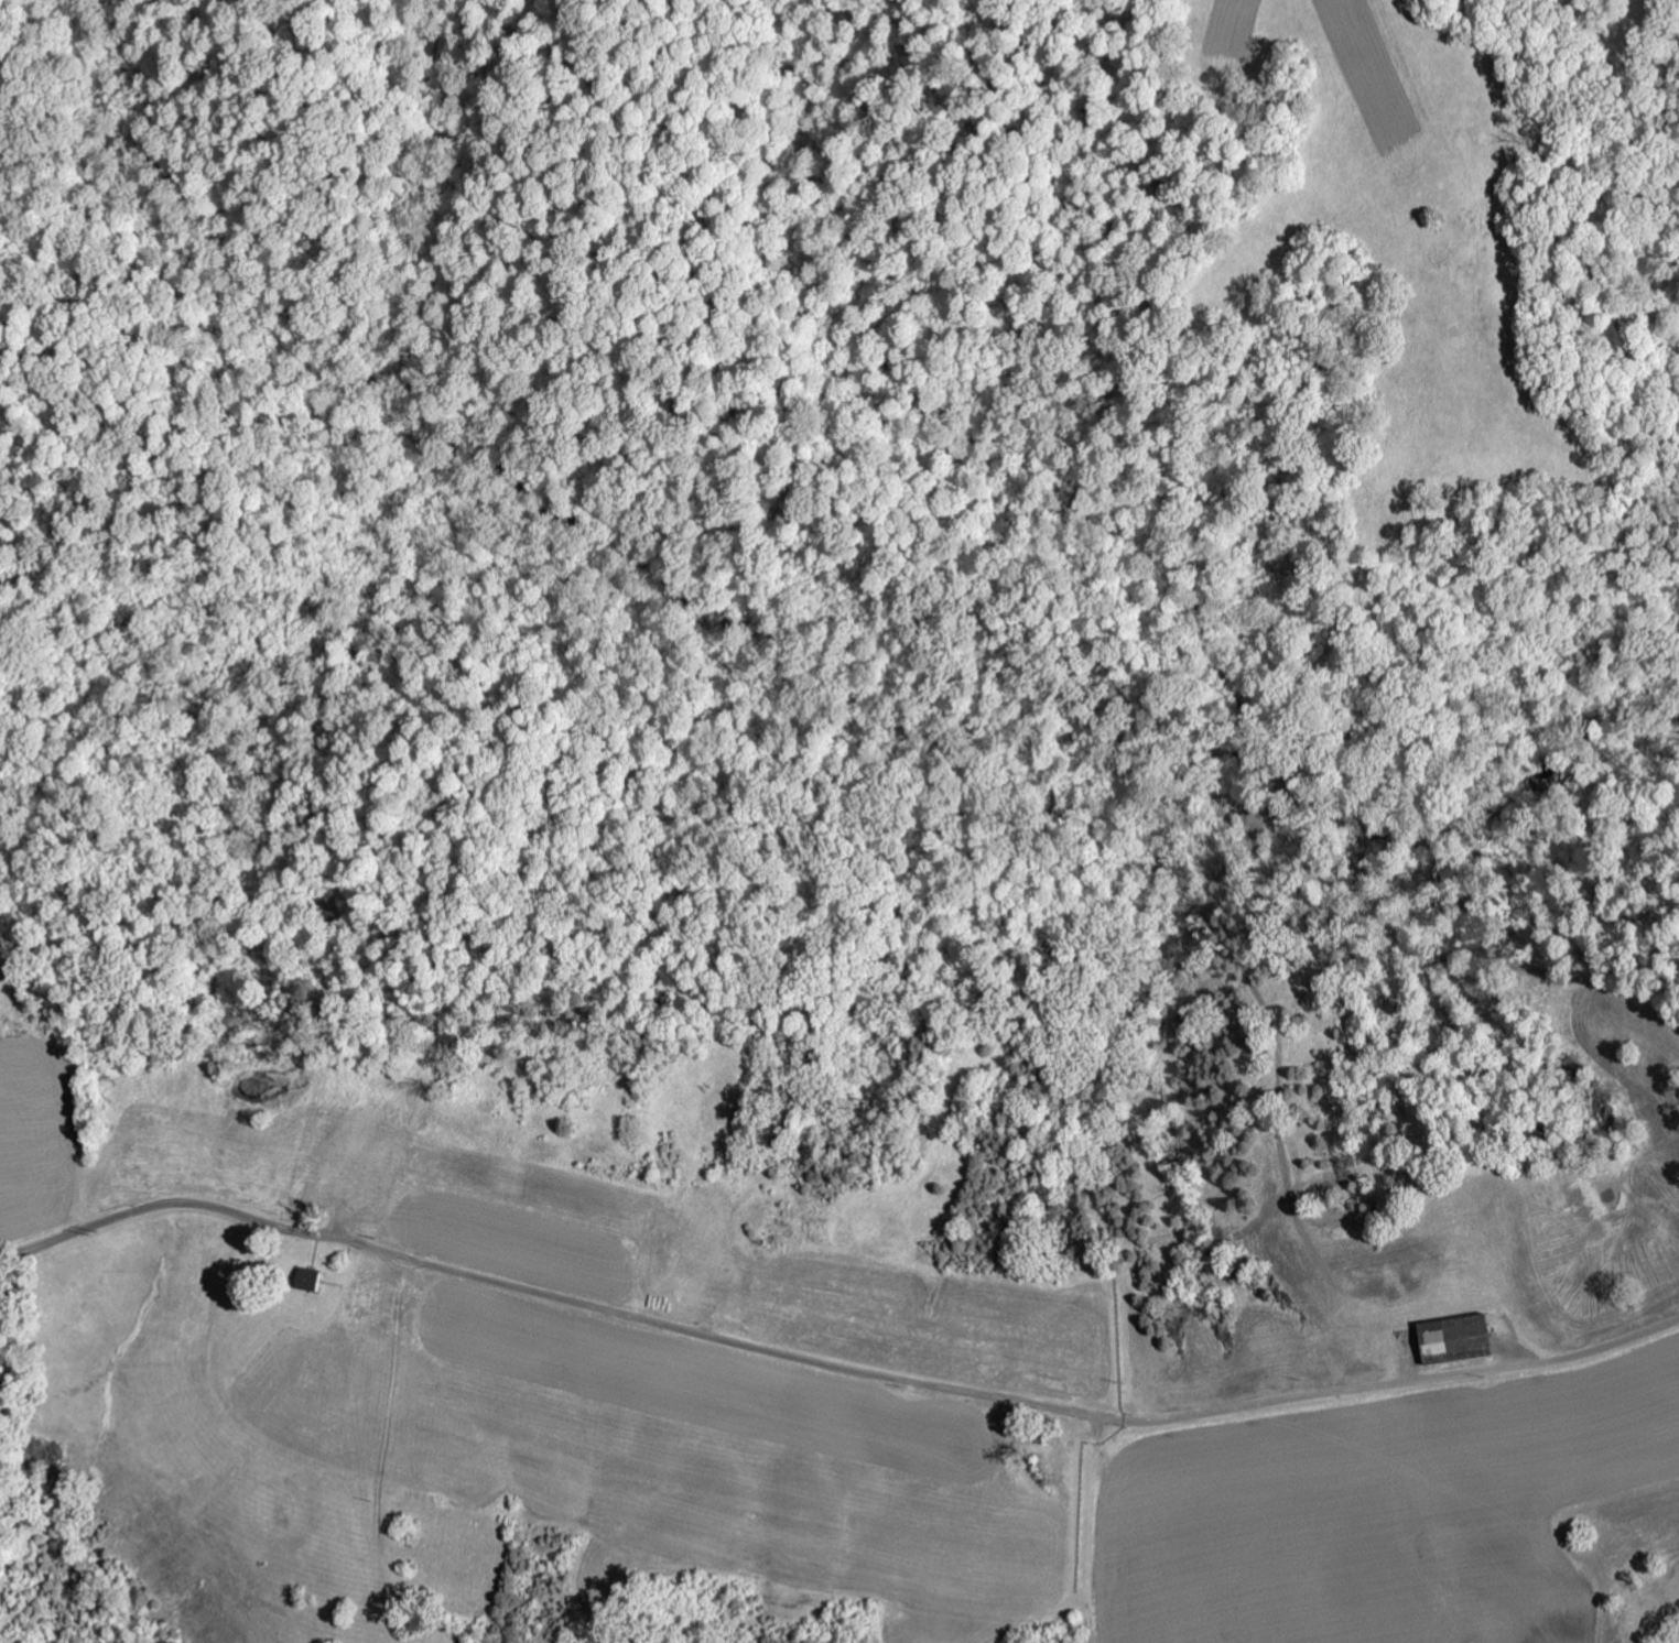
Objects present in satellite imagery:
building: (335, 1185)
building: (307, 1280)
road: (833, 1368)

